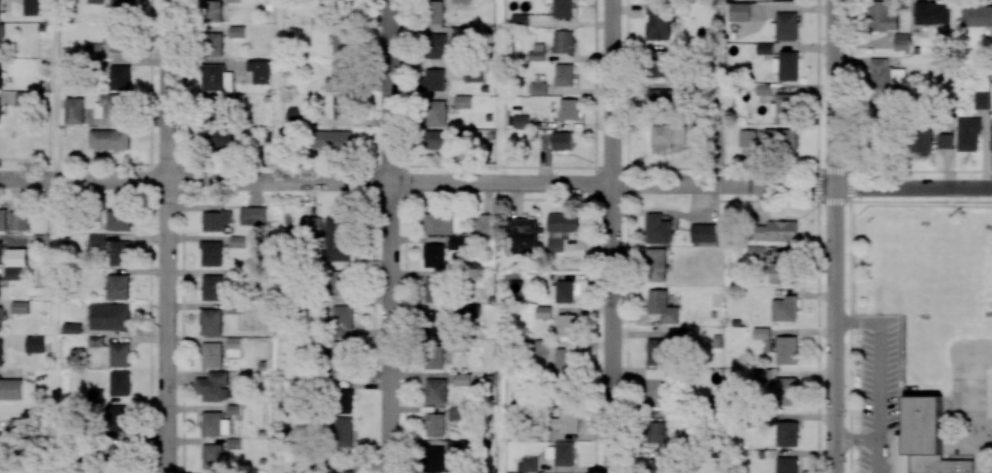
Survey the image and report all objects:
building: (646, 0)
building: (788, 0)
building: (95, 1)
building: (461, 1)
building: (32, 7)
building: (563, 8)
building: (119, 10)
building: (212, 10)
building: (739, 11)
building: (435, 12)
building: (934, 15)
building: (976, 16)
building: (883, 17)
building: (520, 20)
building: (658, 22)
building: (784, 26)
building: (236, 31)
building: (460, 32)
building: (0, 38)
building: (117, 40)
building: (564, 41)
building: (901, 41)
building: (214, 44)
building: (343, 44)
building: (436, 46)
building: (764, 48)
building: (93, 50)
building: (537, 51)
building: (659, 64)
building: (786, 65)
building: (259, 71)
building: (474, 74)
building: (1, 75)
building: (564, 75)
building: (339, 76)
building: (120, 77)
building: (216, 78)
building: (885, 78)
building: (434, 79)
building: (537, 88)
road: (54, 89)
building: (660, 98)
building: (24, 99)
building: (981, 100)
building: (463, 101)
building: (341, 106)
building: (111, 107)
building: (783, 107)
building: (569, 108)
building: (74, 110)
building: (436, 113)
building: (296, 116)
building: (0, 119)
building: (521, 121)
building: (666, 134)
building: (967, 134)
building: (991, 137)
building: (746, 138)
building: (108, 139)
building: (223, 139)
building: (435, 139)
building: (779, 139)
building: (331, 140)
building: (562, 140)
building: (944, 141)
building: (922, 143)
road: (495, 181)
building: (253, 216)
building: (3, 219)
building: (118, 219)
building: (17, 220)
building: (216, 220)
building: (438, 224)
building: (483, 224)
building: (311, 226)
building: (560, 229)
building: (658, 229)
building: (776, 231)
building: (706, 233)
building: (523, 235)
road: (167, 236)
road: (390, 236)
road: (613, 236)
road: (836, 236)
building: (337, 239)
building: (96, 240)
building: (457, 243)
building: (0, 252)
building: (754, 252)
building: (119, 253)
building: (210, 253)
building: (434, 256)
building: (16, 257)
building: (656, 264)
building: (782, 270)
building: (12, 273)
building: (340, 284)
building: (118, 287)
building: (211, 287)
building: (433, 289)
building: (561, 291)
building: (662, 306)
building: (20, 307)
building: (784, 309)
building: (542, 312)
building: (110, 316)
building: (0, 319)
building: (342, 320)
building: (210, 321)
building: (440, 324)
building: (565, 325)
road: (54, 326)
building: (72, 328)
building: (761, 333)
building: (96, 341)
building: (34, 343)
building: (233, 346)
building: (540, 347)
building: (786, 350)
building: (659, 351)
building: (1, 353)
building: (119, 354)
building: (211, 355)
building: (434, 356)
building: (564, 359)
building: (340, 360)
building: (762, 374)
road: (880, 375)
building: (462, 379)
building: (119, 382)
building: (656, 385)
building: (212, 386)
building: (10, 389)
building: (435, 391)
building: (785, 391)
building: (95, 395)
building: (342, 401)
building: (456, 413)
building: (116, 417)
building: (565, 421)
building: (214, 424)
building: (435, 425)
building: (657, 432)
building: (342, 433)
building: (787, 433)
road: (858, 439)
building: (923, 440)
building: (1, 441)
building: (233, 443)
building: (455, 449)
building: (560, 453)
building: (211, 456)
building: (433, 459)
building: (659, 462)
building: (787, 465)
building: (344, 471)

